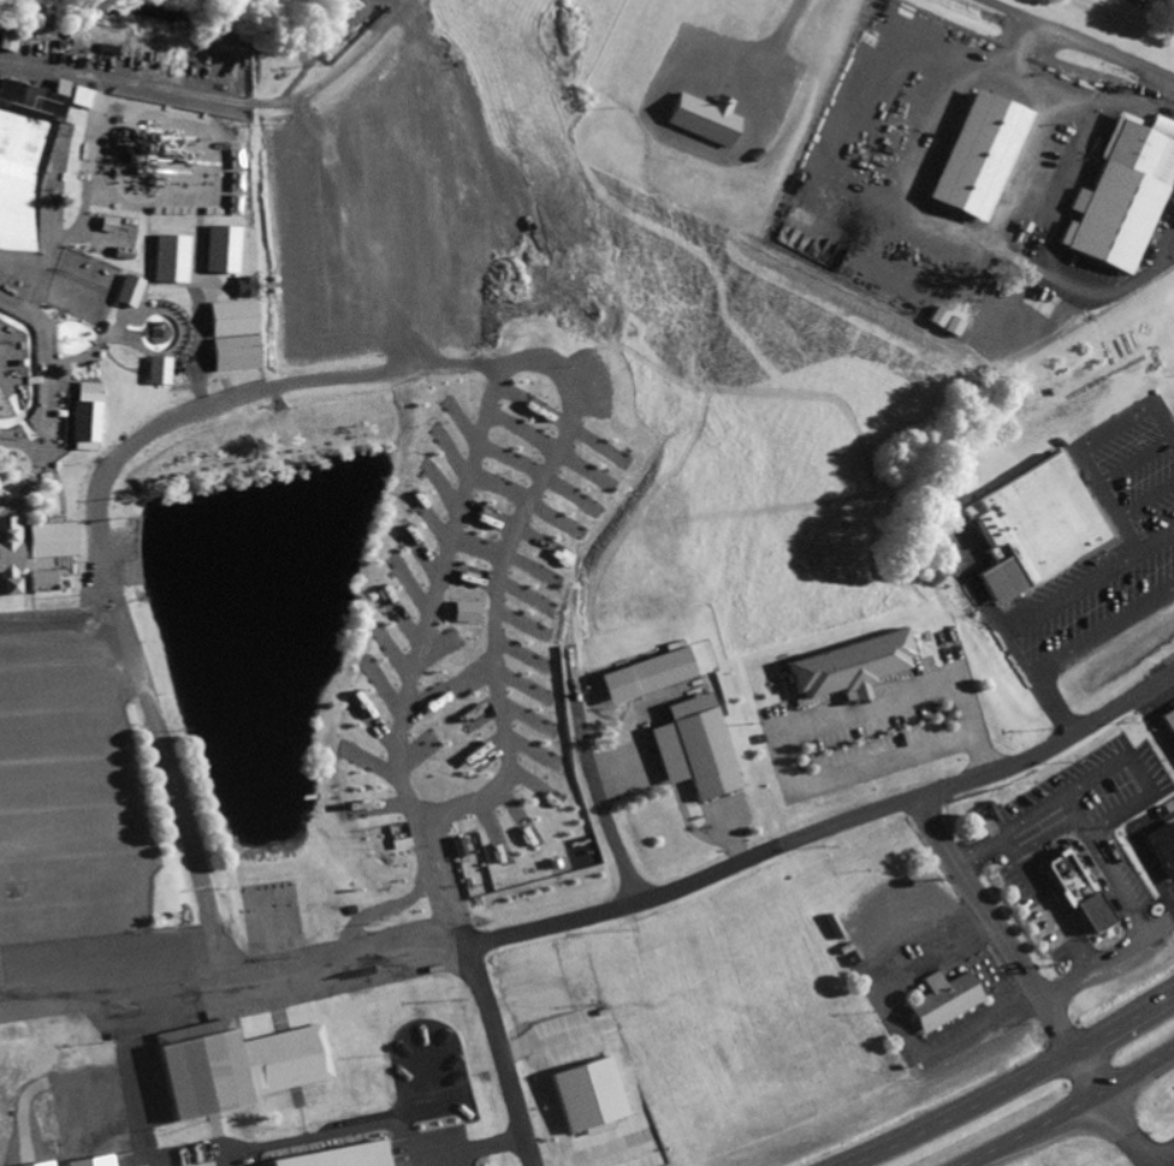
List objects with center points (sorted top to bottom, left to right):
road: (1077, 40)
road: (1039, 79)
building: (30, 96)
building: (705, 115)
building: (131, 148)
building: (130, 196)
building: (1119, 196)
parking lot: (392, 215)
road: (1060, 215)
building: (165, 257)
road: (143, 261)
park: (78, 284)
building: (243, 285)
building: (125, 288)
building: (231, 315)
road: (177, 339)
road: (96, 343)
building: (232, 350)
road: (407, 359)
building: (18, 362)
river: (29, 368)
building: (156, 368)
road: (43, 369)
road: (20, 377)
road: (4, 387)
building: (84, 416)
river: (1, 420)
road: (64, 423)
road: (1078, 444)
road: (103, 460)
road: (1131, 462)
road: (32, 470)
road: (1143, 500)
water park: (280, 505)
road: (18, 522)
building: (1026, 524)
building: (49, 539)
parking lot: (1102, 546)
building: (8, 553)
building: (41, 579)
building: (128, 579)
road: (58, 601)
road: (111, 618)
road: (1007, 639)
building: (847, 665)
building: (662, 670)
road: (59, 685)
road: (1054, 703)
road: (121, 715)
building: (1168, 720)
road: (61, 733)
building: (699, 746)
road: (1148, 797)
road: (877, 823)
road: (90, 828)
road: (979, 844)
building: (1162, 847)
road: (1049, 850)
road: (93, 878)
building: (1074, 891)
building: (99, 906)
road: (1114, 911)
road: (1157, 924)
road: (1001, 928)
road: (96, 929)
road: (1, 935)
road: (1075, 935)
road: (503, 940)
road: (1092, 965)
road: (111, 998)
building: (939, 999)
road: (1090, 1072)
building: (201, 1073)
road: (1014, 1085)
road: (1071, 1112)
building: (346, 1153)

